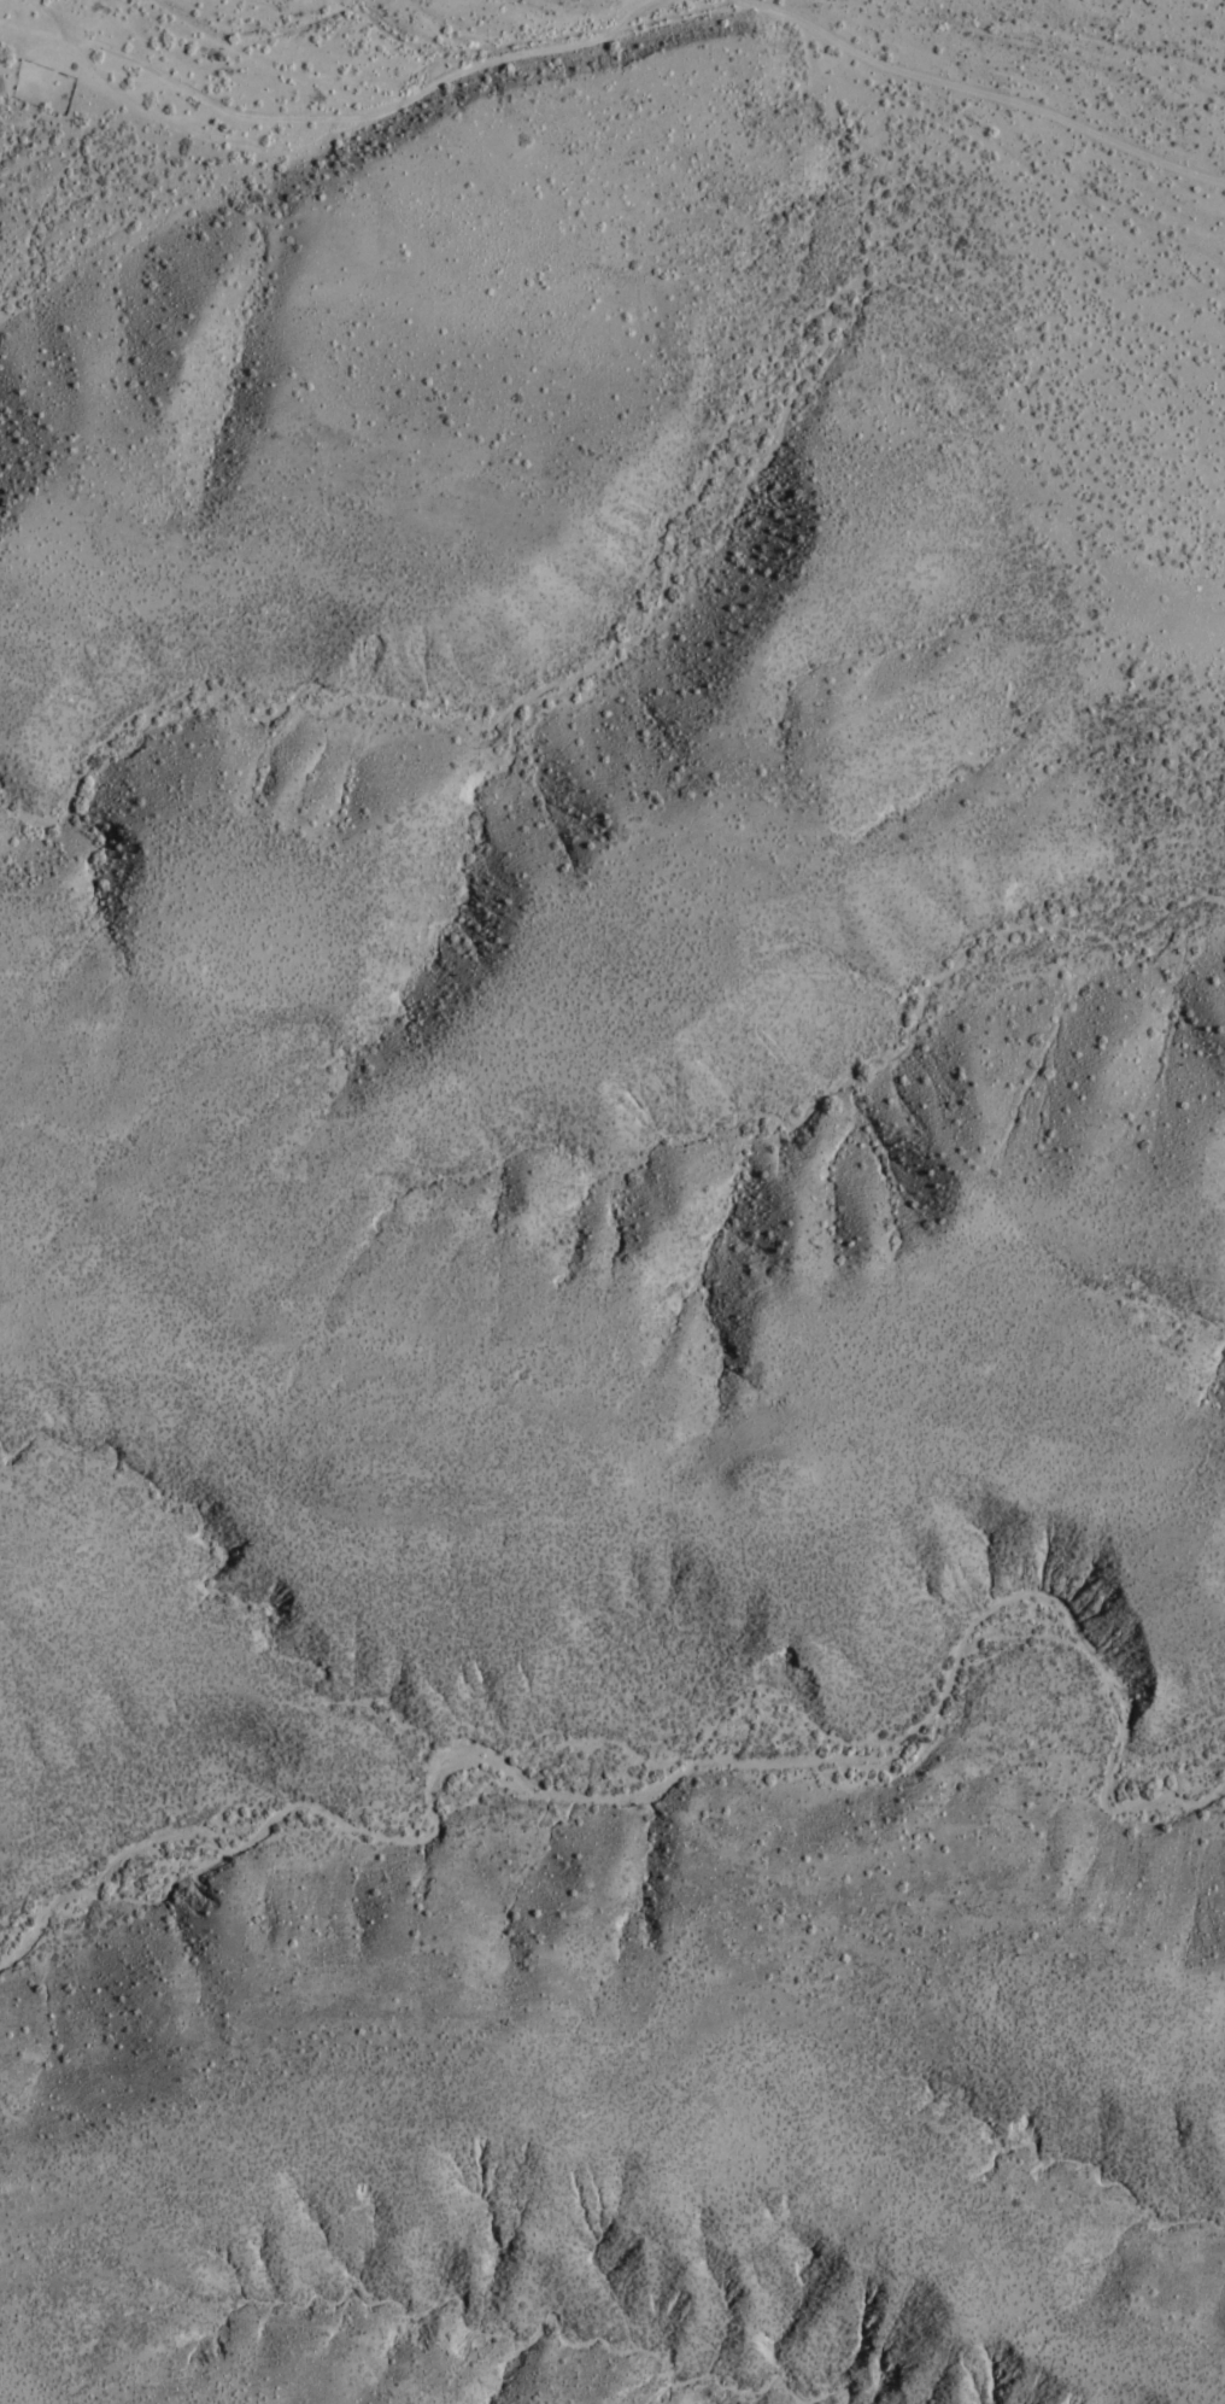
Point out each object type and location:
road: (977, 94)
road: (327, 119)

